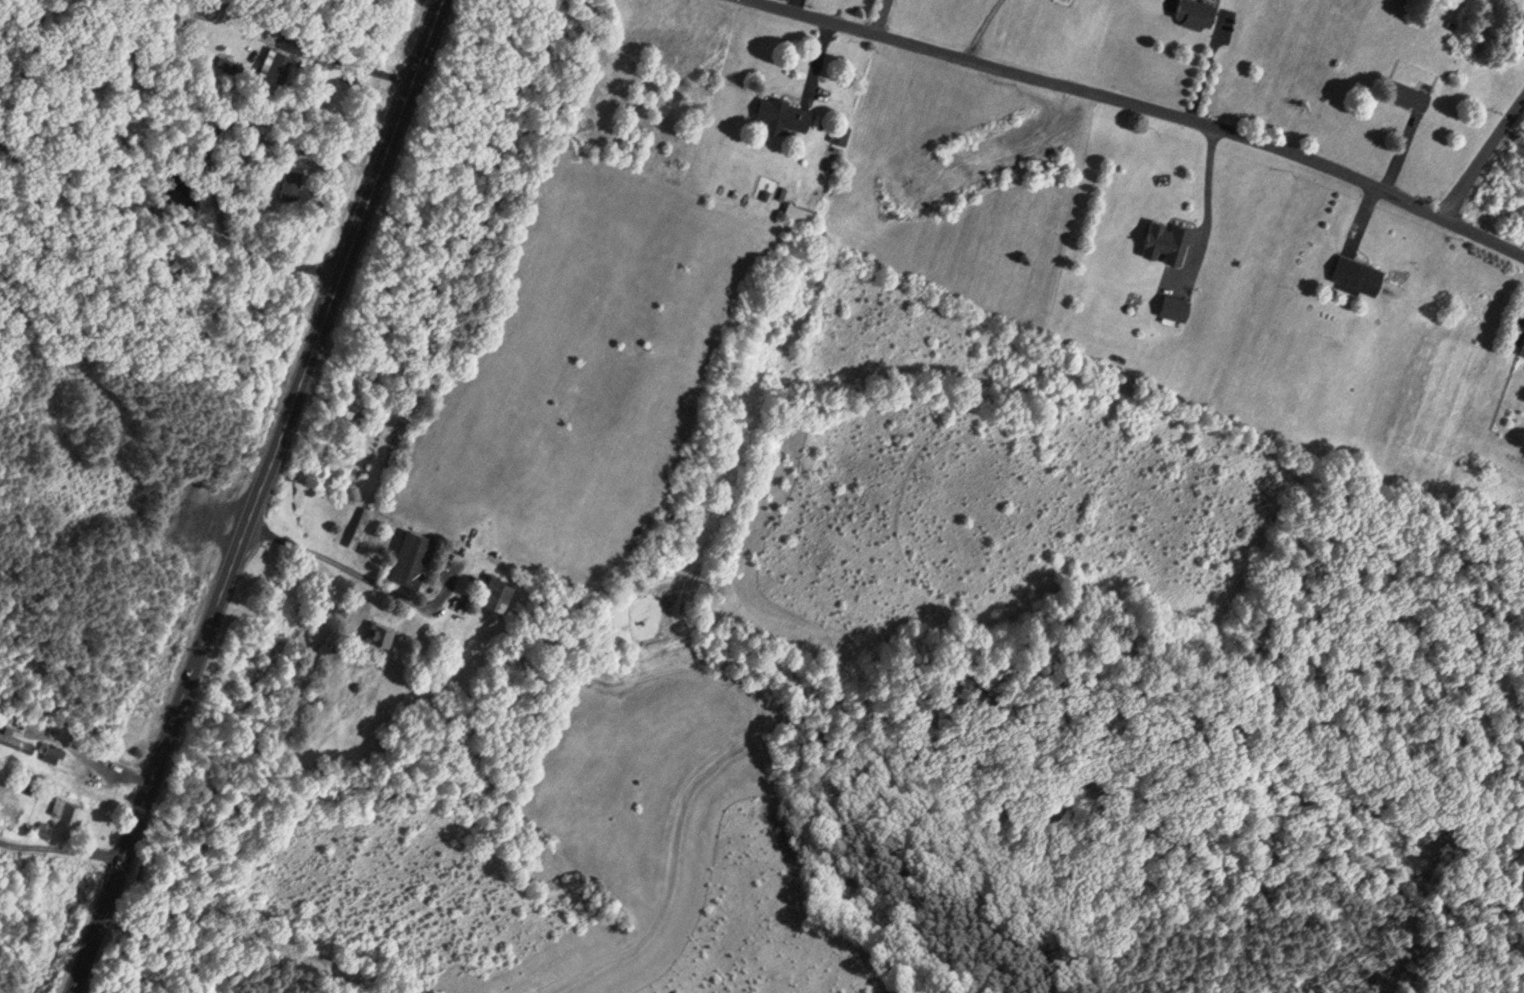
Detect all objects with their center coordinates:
road: (794, 3)
building: (1197, 10)
road: (882, 14)
road: (820, 54)
building: (276, 59)
road: (355, 67)
road: (1204, 72)
building: (1406, 89)
road: (1151, 107)
building: (783, 108)
building: (841, 128)
road: (1483, 150)
road: (1397, 153)
road: (314, 179)
road: (1207, 199)
building: (801, 208)
road: (1363, 211)
road: (165, 217)
building: (1167, 235)
building: (1359, 269)
building: (1175, 303)
road: (1522, 307)
building: (1522, 344)
road: (254, 496)
building: (360, 525)
building: (411, 553)
building: (498, 586)
building: (380, 629)
building: (52, 750)
building: (67, 806)
road: (58, 853)

